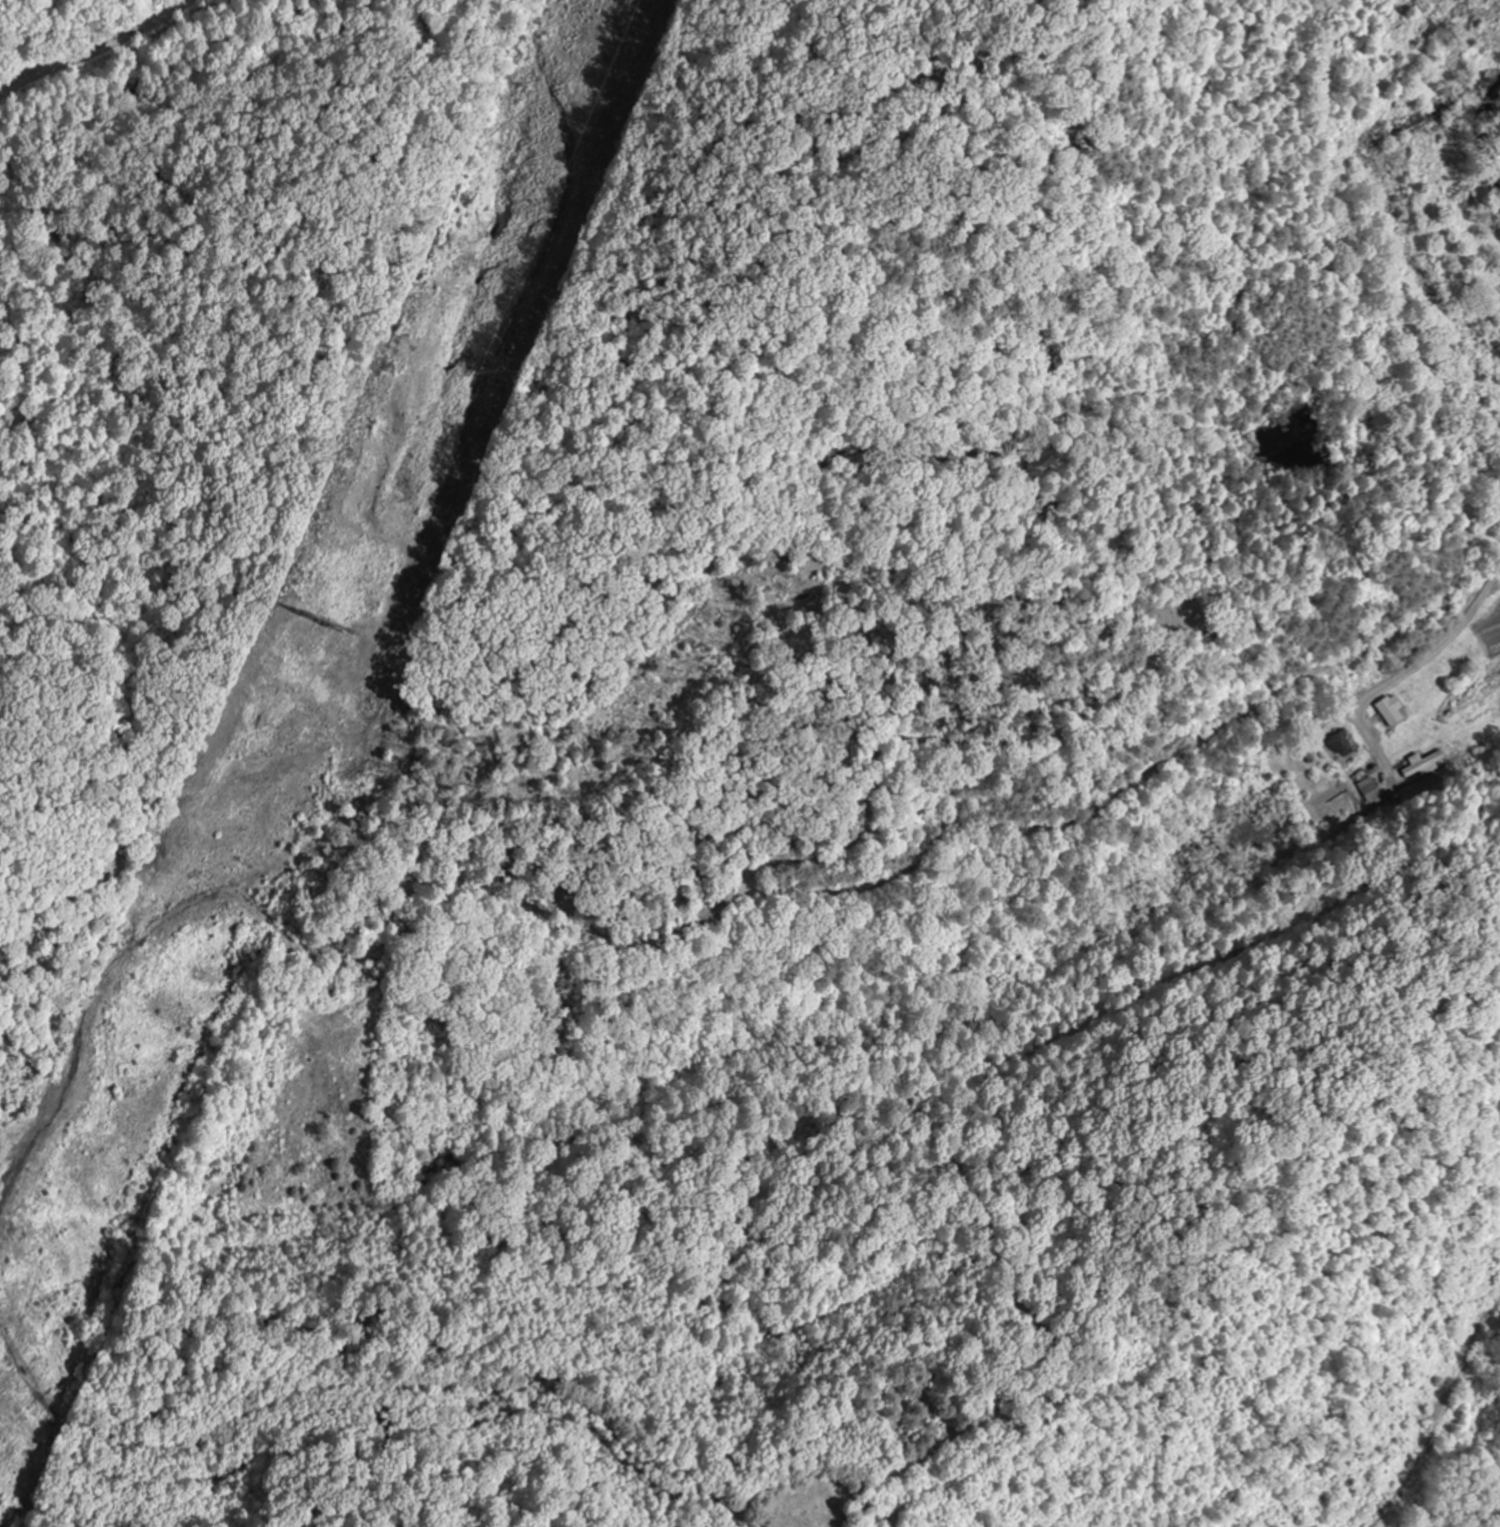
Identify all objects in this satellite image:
building: (1390, 709)
building: (1342, 744)
building: (1421, 764)
building: (1366, 785)

